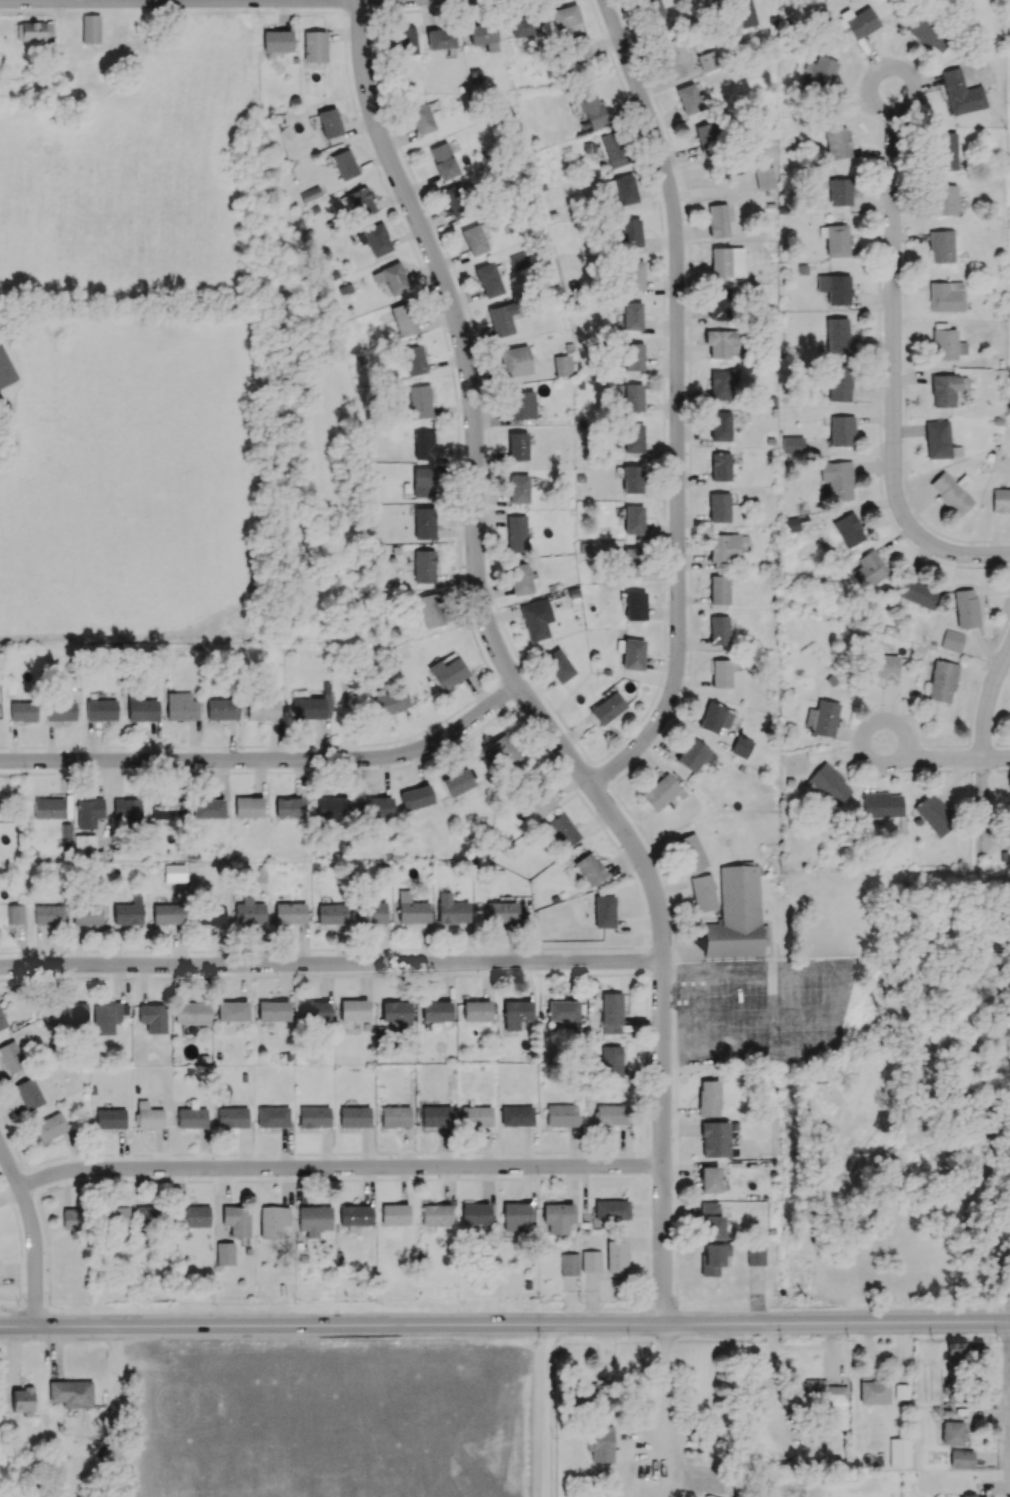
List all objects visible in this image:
road: (227, 2)
building: (653, 10)
building: (745, 13)
building: (564, 16)
building: (860, 22)
building: (523, 25)
building: (574, 28)
building: (90, 29)
building: (36, 31)
building: (928, 34)
building: (483, 35)
building: (440, 39)
building: (276, 41)
building: (405, 41)
building: (314, 46)
building: (579, 51)
building: (673, 58)
building: (707, 60)
building: (818, 72)
building: (960, 93)
building: (688, 98)
building: (591, 110)
building: (421, 119)
building: (328, 122)
building: (705, 133)
building: (837, 144)
building: (606, 148)
building: (946, 151)
building: (443, 161)
building: (344, 164)
building: (764, 178)
building: (624, 189)
building: (839, 191)
building: (310, 194)
building: (457, 200)
building: (944, 200)
building: (361, 202)
building: (717, 220)
building: (628, 234)
building: (376, 239)
building: (474, 239)
building: (836, 240)
building: (941, 246)
building: (727, 262)
building: (632, 275)
building: (488, 279)
building: (834, 288)
building: (945, 296)
building: (719, 304)
building: (631, 315)
building: (403, 319)
building: (500, 320)
building: (836, 336)
building: (722, 342)
building: (946, 344)
building: (632, 356)
building: (413, 360)
building: (515, 361)
road: (894, 363)
building: (562, 365)
building: (5, 369)
building: (838, 383)
building: (720, 384)
building: (944, 390)
building: (632, 397)
building: (419, 401)
building: (520, 405)
road: (680, 405)
building: (720, 426)
building: (841, 430)
building: (633, 438)
building: (939, 441)
building: (423, 444)
building: (792, 444)
building: (517, 446)
building: (720, 466)
building: (632, 479)
building: (837, 479)
building: (420, 483)
building: (518, 489)
building: (951, 492)
building: (1000, 500)
building: (633, 519)
building: (423, 522)
building: (790, 525)
building: (848, 530)
building: (515, 534)
building: (724, 548)
building: (630, 561)
building: (424, 566)
building: (869, 569)
building: (519, 579)
building: (718, 589)
building: (916, 593)
building: (634, 605)
building: (965, 608)
building: (430, 610)
building: (536, 618)
building: (718, 631)
building: (952, 640)
building: (632, 654)
building: (557, 666)
building: (882, 666)
road: (510, 669)
building: (447, 673)
building: (721, 673)
building: (942, 681)
building: (388, 701)
building: (312, 705)
building: (180, 706)
building: (99, 708)
building: (608, 708)
building: (140, 709)
building: (221, 709)
building: (262, 709)
building: (60, 710)
building: (22, 711)
building: (715, 717)
building: (821, 718)
building: (741, 746)
building: (504, 752)
road: (983, 754)
building: (692, 755)
road: (942, 759)
road: (271, 763)
building: (457, 782)
building: (827, 784)
building: (659, 791)
building: (415, 797)
building: (538, 798)
building: (881, 804)
building: (248, 806)
building: (288, 807)
building: (331, 807)
building: (376, 807)
building: (47, 808)
building: (126, 808)
building: (208, 808)
building: (167, 810)
building: (88, 812)
building: (934, 813)
building: (562, 830)
building: (85, 846)
building: (690, 853)
building: (589, 869)
building: (703, 893)
building: (451, 909)
building: (501, 910)
building: (128, 912)
building: (249, 912)
building: (371, 912)
building: (413, 912)
building: (604, 912)
building: (290, 913)
building: (15, 914)
building: (48, 914)
building: (86, 914)
building: (167, 914)
building: (332, 914)
building: (208, 915)
building: (736, 915)
road: (331, 965)
road: (837, 1003)
building: (272, 1010)
building: (353, 1010)
building: (232, 1011)
building: (313, 1011)
building: (395, 1011)
building: (435, 1011)
building: (476, 1011)
road: (750, 1011)
building: (564, 1012)
building: (611, 1012)
building: (72, 1013)
building: (191, 1013)
building: (515, 1015)
building: (105, 1016)
building: (152, 1017)
building: (1, 1021)
building: (11, 1057)
building: (611, 1058)
building: (28, 1094)
building: (708, 1098)
building: (475, 1115)
building: (516, 1115)
building: (561, 1115)
building: (611, 1115)
building: (148, 1116)
building: (272, 1116)
building: (314, 1116)
building: (354, 1116)
building: (395, 1116)
building: (435, 1116)
building: (231, 1117)
building: (110, 1118)
building: (191, 1118)
building: (50, 1126)
building: (715, 1139)
road: (341, 1167)
building: (709, 1179)
building: (611, 1210)
building: (475, 1213)
building: (394, 1214)
building: (435, 1214)
building: (146, 1215)
building: (355, 1215)
building: (558, 1216)
building: (115, 1217)
building: (515, 1217)
building: (190, 1219)
building: (314, 1219)
building: (72, 1220)
building: (236, 1220)
building: (272, 1220)
building: (713, 1222)
road: (33, 1228)
building: (224, 1253)
building: (489, 1254)
building: (755, 1254)
building: (615, 1256)
building: (714, 1258)
building: (590, 1261)
building: (569, 1264)
road: (504, 1322)
building: (960, 1353)
building: (585, 1389)
building: (874, 1391)
building: (71, 1393)
building: (817, 1399)
building: (23, 1401)
road: (549, 1409)
building: (952, 1433)
building: (601, 1444)
road: (640, 1446)
building: (899, 1452)
building: (960, 1459)
building: (973, 1496)

